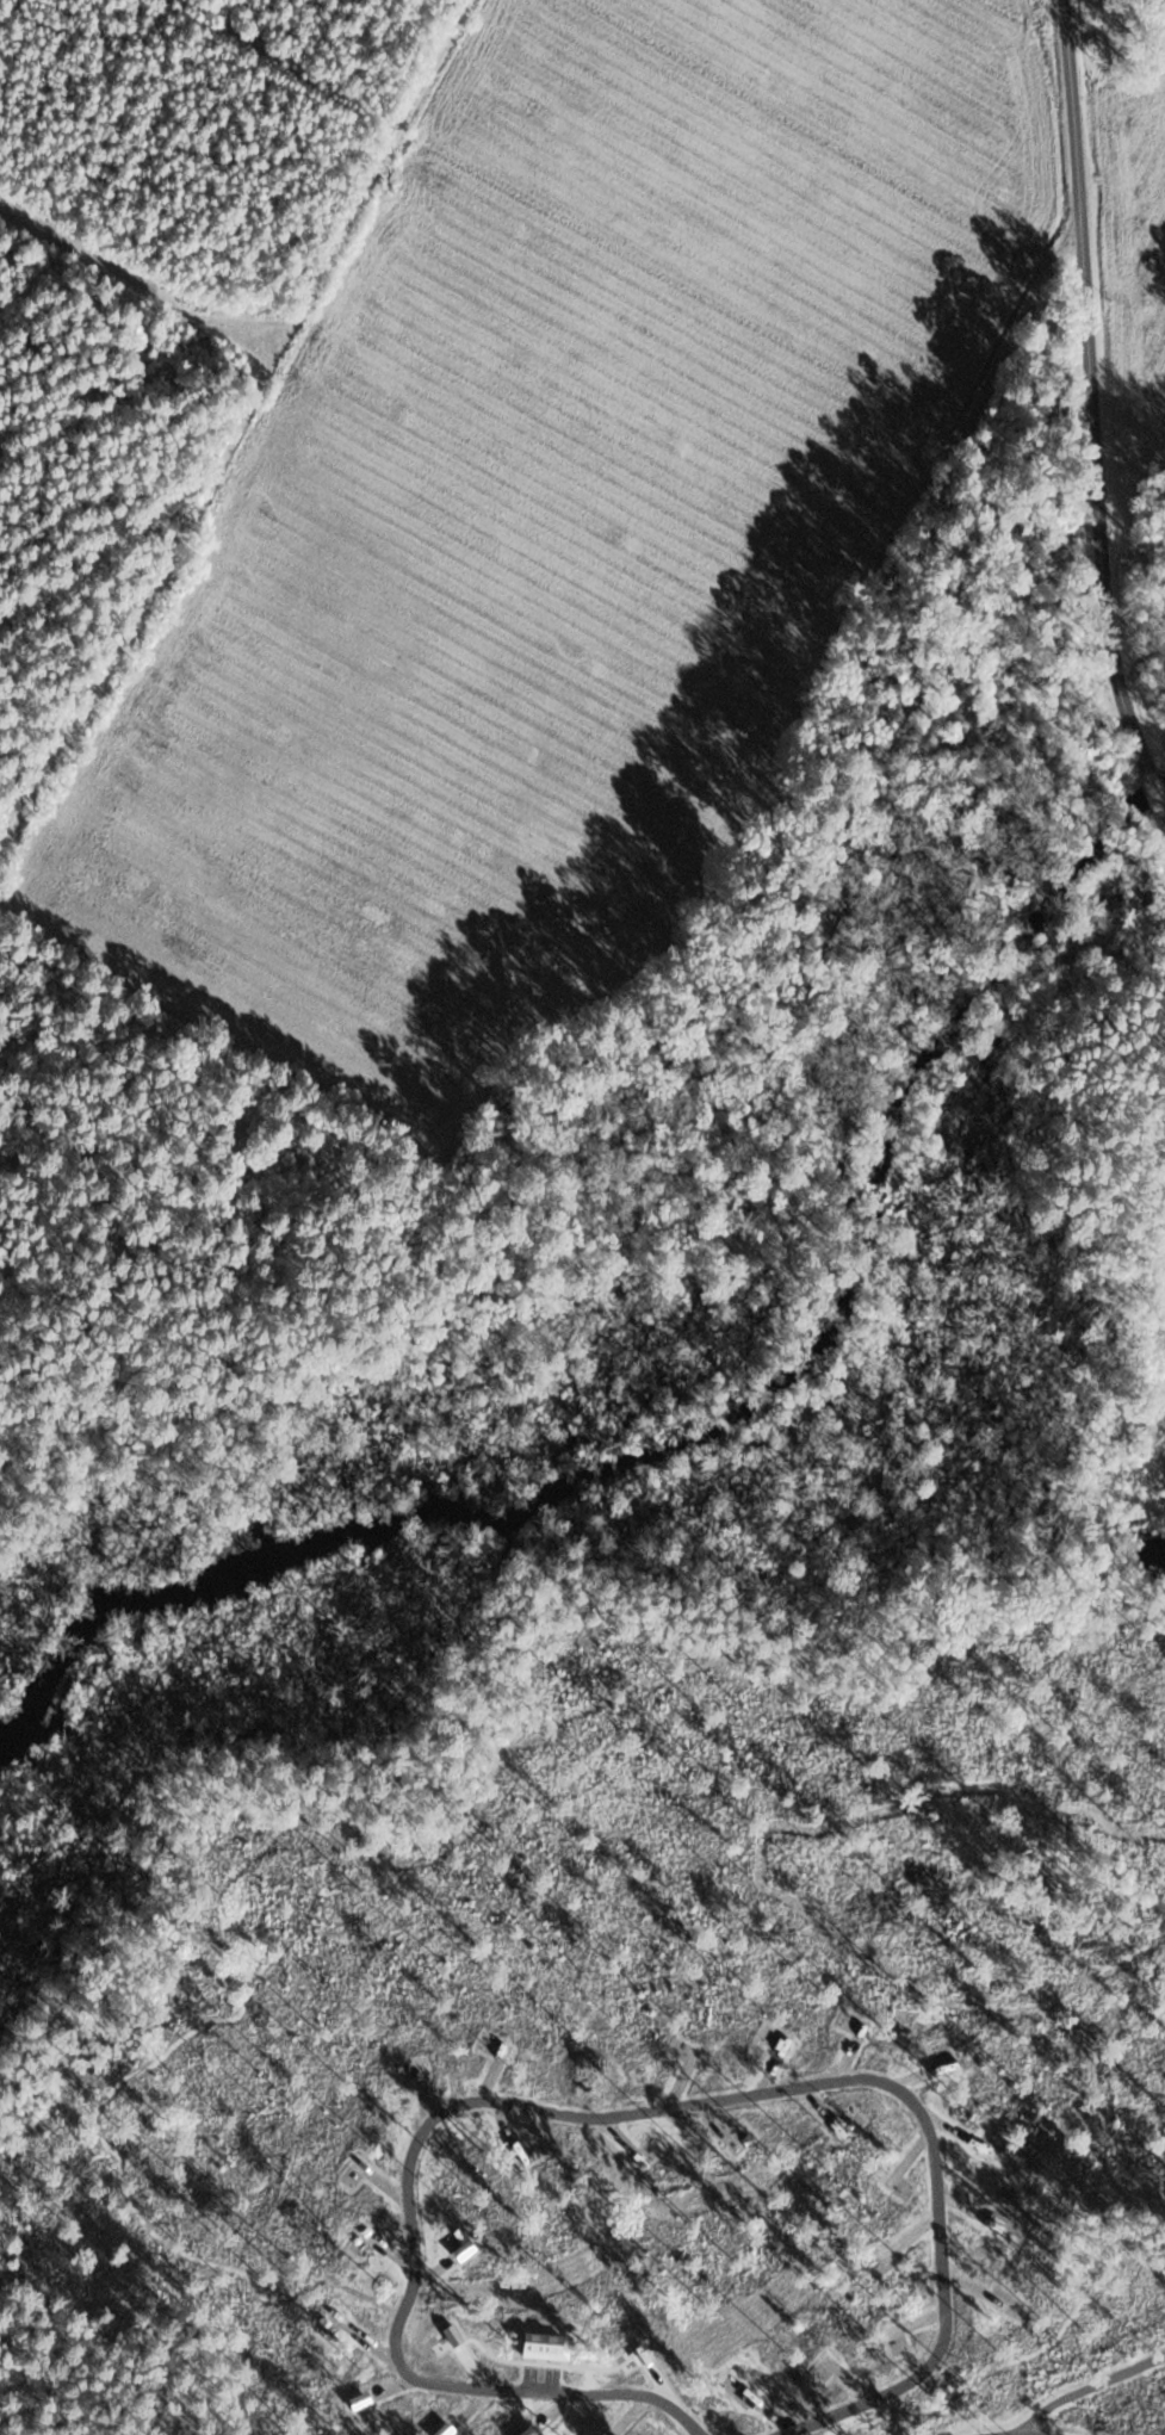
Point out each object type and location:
road: (1087, 397)
road: (700, 860)
road: (607, 2115)
road: (1090, 2385)

